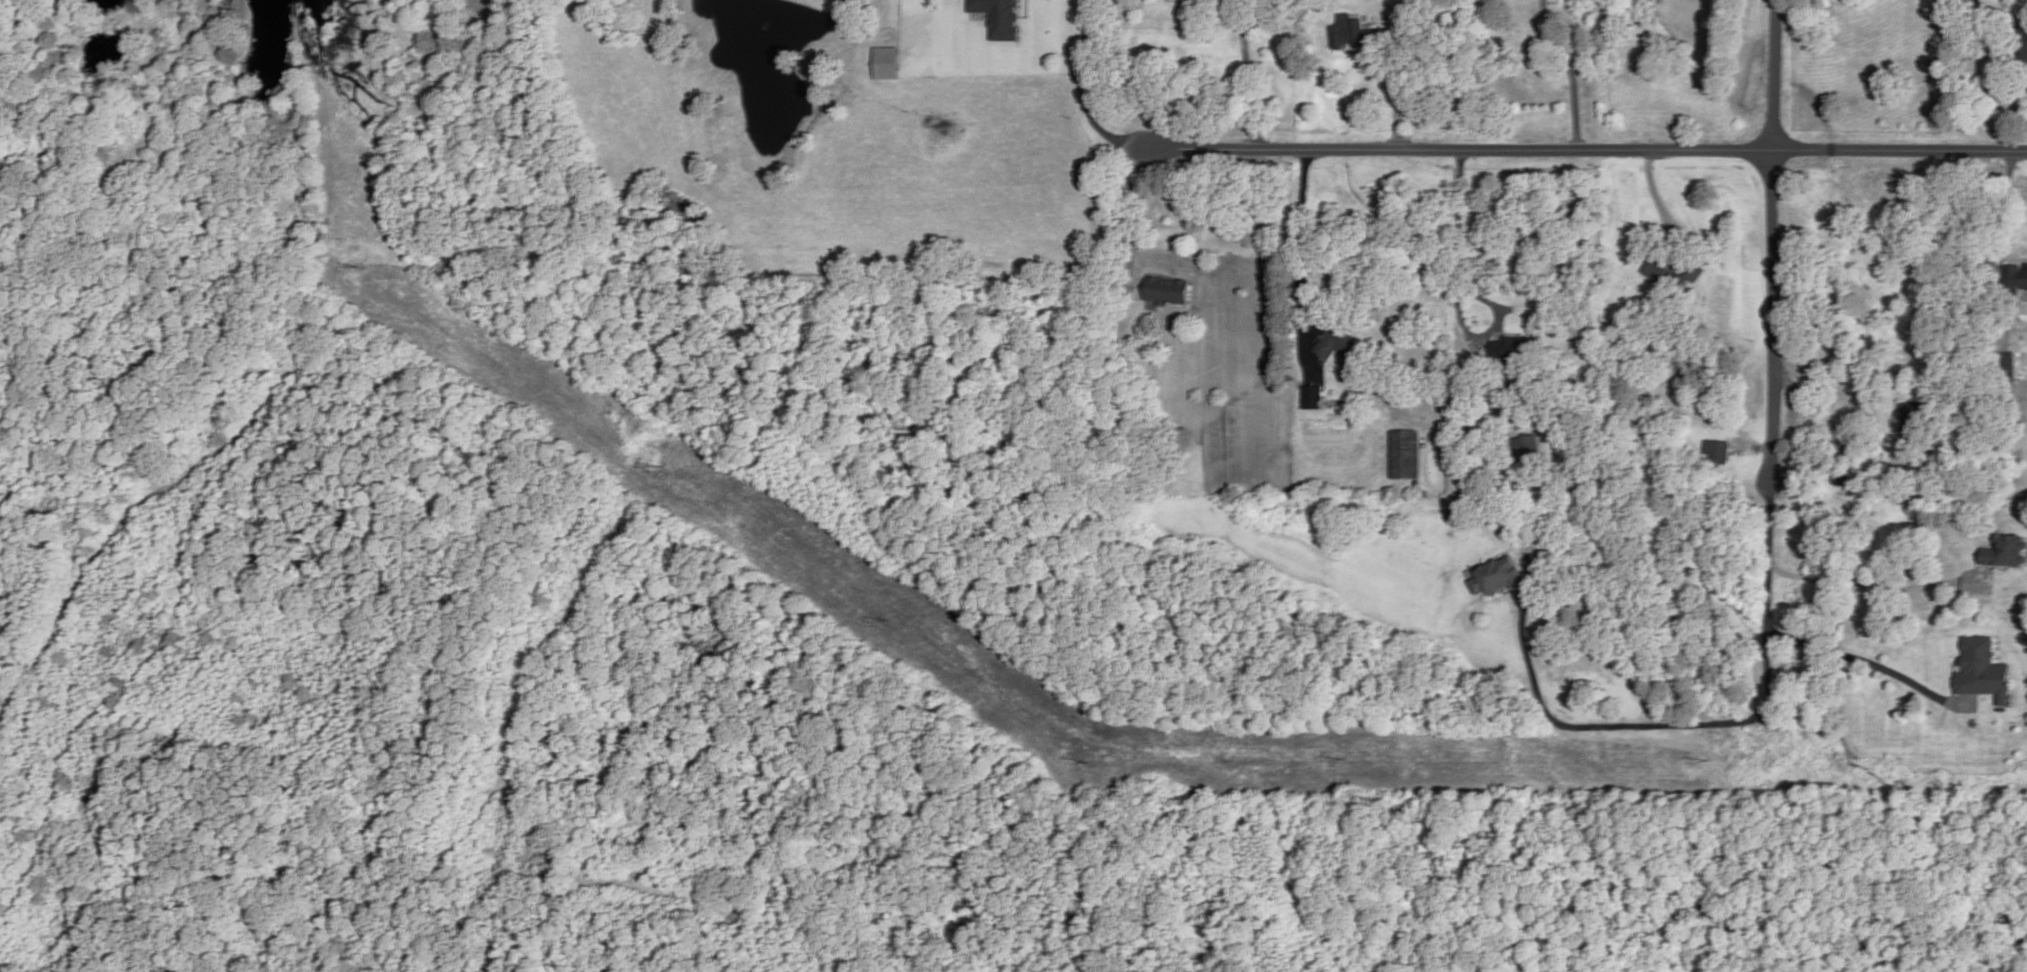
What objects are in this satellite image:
road: (1027, 10)
building: (1000, 17)
building: (1351, 33)
building: (2026, 41)
road: (1361, 52)
road: (1401, 59)
building: (887, 62)
road: (1571, 71)
road: (1248, 74)
road: (1085, 92)
road: (1587, 150)
road: (2011, 197)
road: (1659, 201)
road: (1127, 219)
road: (1775, 242)
road: (1303, 262)
power tower: (370, 264)
building: (1673, 274)
building: (2015, 276)
building: (1166, 290)
road: (1454, 295)
building: (1337, 344)
building: (1509, 349)
building: (2005, 366)
road: (1697, 376)
building: (1312, 398)
building: (1913, 418)
road: (1838, 426)
building: (1525, 448)
road: (1753, 450)
building: (1719, 452)
building: (1405, 455)
power tower: (662, 463)
building: (1470, 471)
building: (1843, 478)
building: (2006, 552)
road: (1977, 560)
building: (1500, 576)
road: (1873, 586)
road: (1517, 592)
power tower: (890, 620)
road: (1869, 664)
building: (1983, 673)
road: (1952, 679)
road: (1682, 725)
power tower: (1092, 756)
power tower: (1344, 759)
power tower: (1711, 759)

